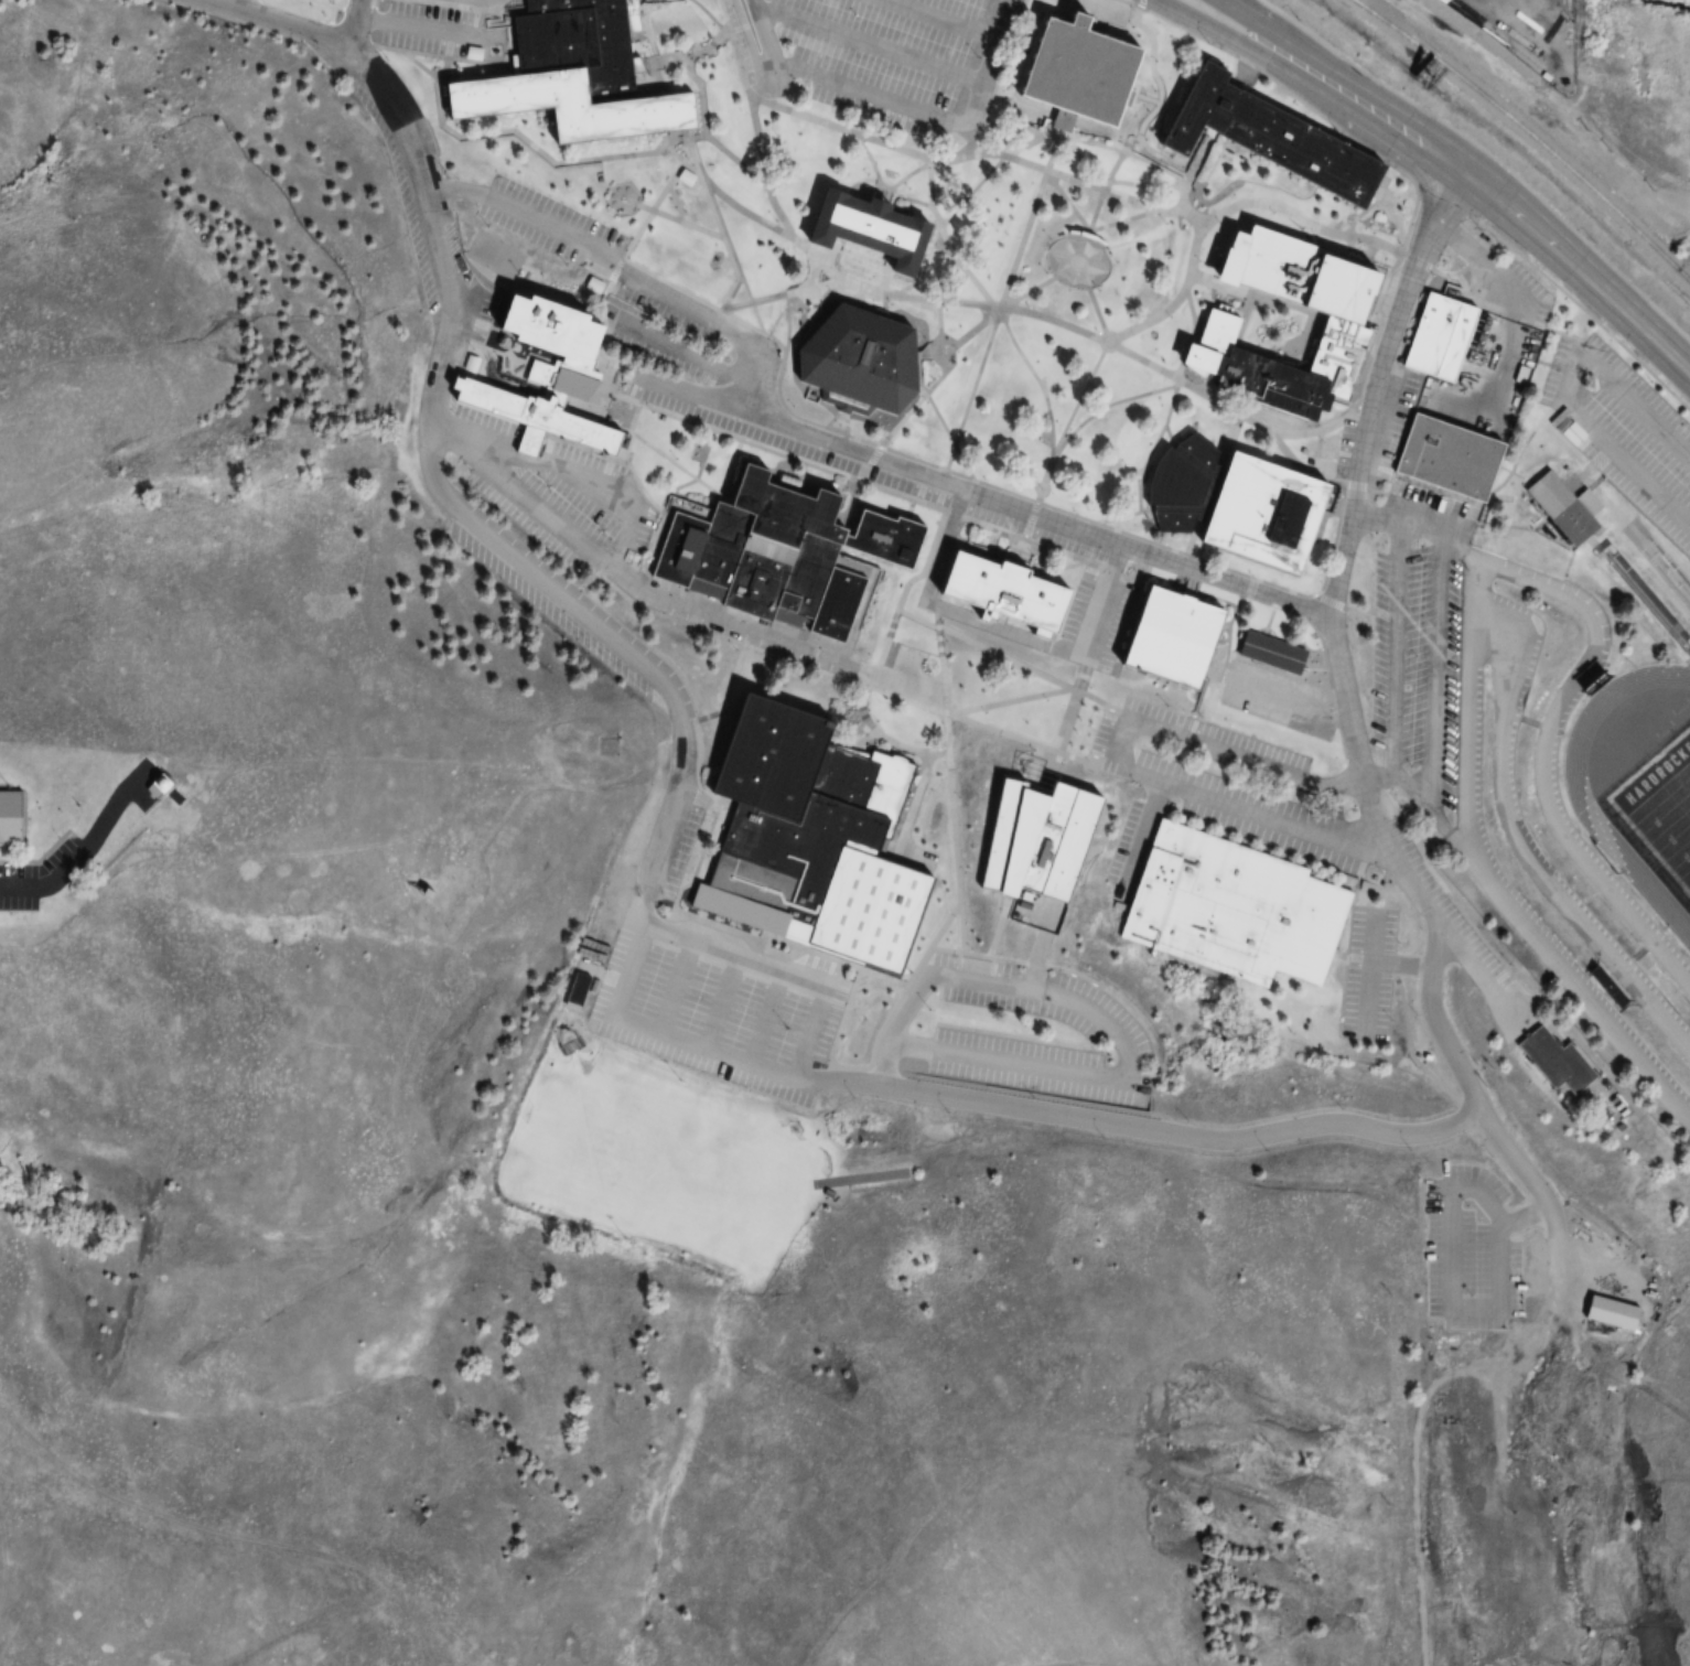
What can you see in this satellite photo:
parking lot: (1018, 1)
road: (375, 2)
road: (332, 3)
road: (358, 4)
road: (470, 4)
road: (1139, 4)
road: (243, 6)
road: (334, 8)
road: (1091, 8)
parking lot: (1094, 8)
road: (1135, 14)
road: (709, 18)
road: (947, 18)
road: (278, 22)
road: (353, 24)
road: (430, 31)
road: (765, 31)
parking lot: (443, 35)
road: (743, 36)
road: (1296, 42)
building: (572, 44)
road: (872, 46)
parking lot: (885, 51)
road: (1256, 52)
road: (441, 56)
road: (421, 65)
building: (1081, 69)
road: (773, 82)
road: (1161, 90)
road: (1142, 95)
building: (561, 106)
road: (702, 109)
road: (934, 117)
building: (1268, 133)
railway: (1525, 136)
road: (1110, 149)
road: (540, 150)
road: (1058, 151)
road: (976, 153)
road: (1489, 153)
road: (1117, 157)
road: (1455, 168)
road: (1417, 179)
road: (880, 185)
road: (1117, 185)
road: (973, 191)
road: (886, 192)
road: (722, 196)
road: (656, 206)
road: (1223, 211)
road: (1438, 216)
road: (680, 223)
road: (719, 223)
building: (875, 224)
road: (1086, 226)
parking lot: (552, 227)
road: (938, 236)
road: (1023, 240)
road: (1409, 257)
road: (1471, 265)
road: (1424, 266)
road: (961, 268)
road: (778, 295)
road: (1091, 299)
road: (961, 303)
road: (1515, 305)
road: (883, 308)
road: (1621, 309)
building: (1360, 319)
road: (787, 326)
building: (1444, 331)
road: (939, 342)
road: (753, 346)
road: (946, 347)
road: (952, 348)
building: (540, 350)
road: (683, 353)
building: (854, 362)
road: (972, 390)
road: (700, 395)
road: (1079, 399)
road: (1045, 401)
road: (1581, 405)
road: (1108, 407)
road: (934, 411)
road: (632, 418)
building: (525, 419)
road: (1317, 429)
road: (1163, 430)
parking lot: (1623, 431)
road: (654, 451)
road: (742, 453)
building: (1452, 453)
road: (869, 464)
parking lot: (890, 472)
road: (564, 474)
road: (1009, 491)
parking lot: (555, 492)
building: (1241, 498)
road: (1036, 505)
building: (1558, 508)
road: (467, 516)
road: (1030, 525)
road: (1397, 529)
road: (1022, 539)
road: (933, 550)
building: (782, 556)
road: (1181, 560)
building: (1008, 589)
road: (649, 596)
road: (1327, 605)
road: (1091, 621)
building: (1175, 635)
parking lot: (1420, 643)
road: (984, 646)
building: (1274, 652)
road: (1396, 654)
track: (1686, 656)
road: (832, 676)
road: (1435, 685)
road: (729, 692)
stadium: (1585, 696)
road: (1033, 697)
road: (1063, 730)
road: (1548, 733)
road: (860, 749)
road: (905, 752)
road: (384, 753)
road: (1116, 763)
road: (1376, 778)
building: (148, 787)
track: (1584, 807)
park: (1657, 811)
building: (8, 818)
road: (954, 832)
building: (818, 838)
building: (1047, 838)
road: (51, 846)
road: (707, 847)
road: (1521, 847)
parking lot: (1300, 851)
road: (75, 859)
road: (18, 862)
parking lot: (672, 868)
road: (1485, 877)
parking lot: (18, 885)
building: (1229, 909)
road: (998, 927)
road: (932, 942)
road: (734, 956)
road: (1406, 964)
road: (1374, 970)
road: (1485, 972)
road: (672, 991)
building: (573, 993)
road: (715, 1008)
road: (766, 1024)
road: (897, 1028)
parking lot: (1111, 1032)
road: (810, 1033)
building: (1563, 1056)
road: (1128, 1076)
road: (1087, 1118)
building: (1450, 1126)
park: (671, 1153)
building: (1525, 1322)

